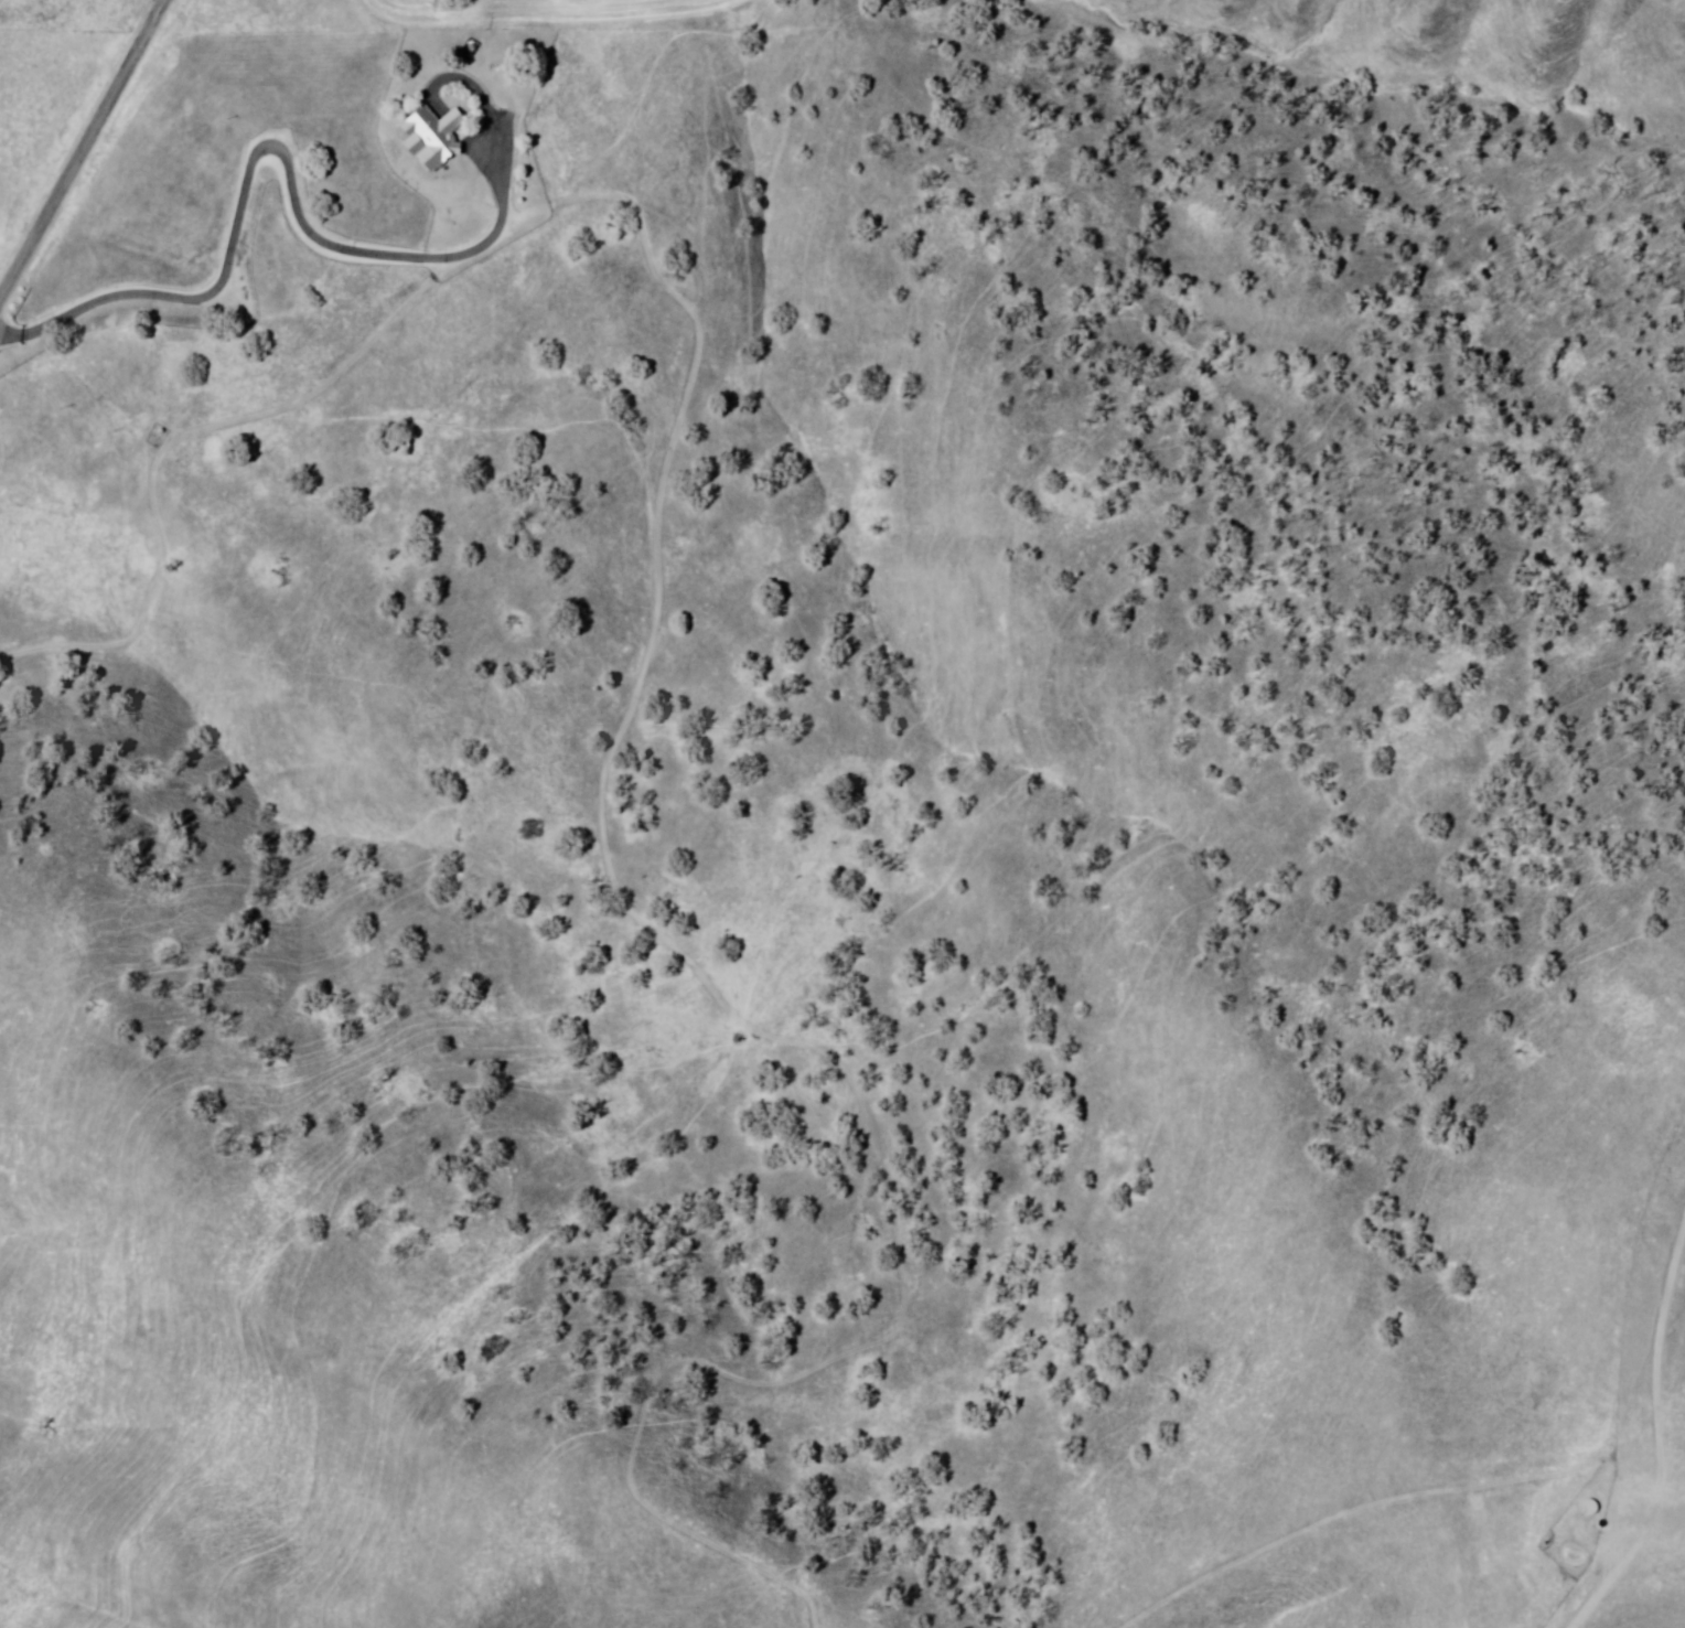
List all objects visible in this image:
road: (153, 29)
building: (443, 130)
road: (487, 161)
road: (67, 180)
road: (297, 207)
road: (1673, 1447)

